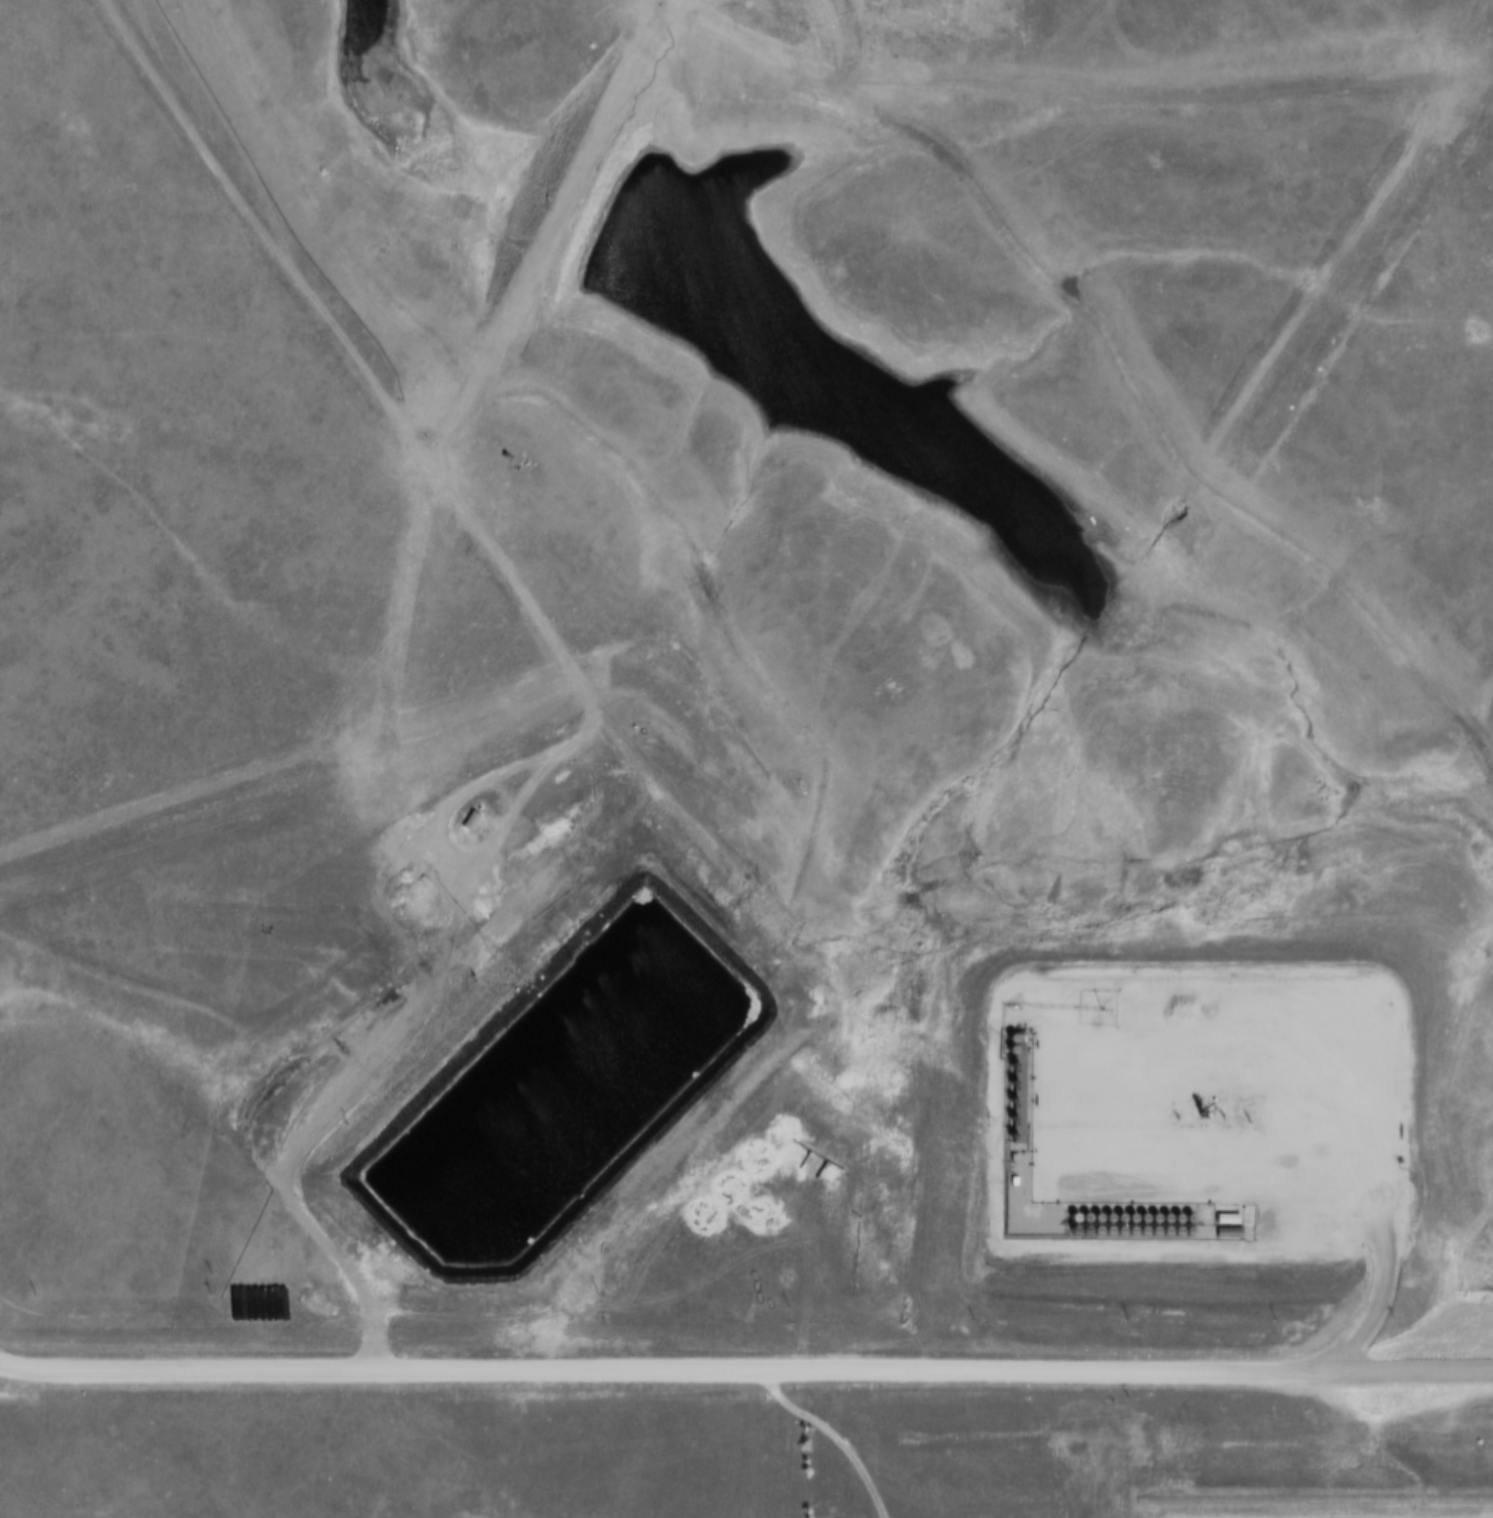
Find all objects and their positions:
road: (721, 1378)

